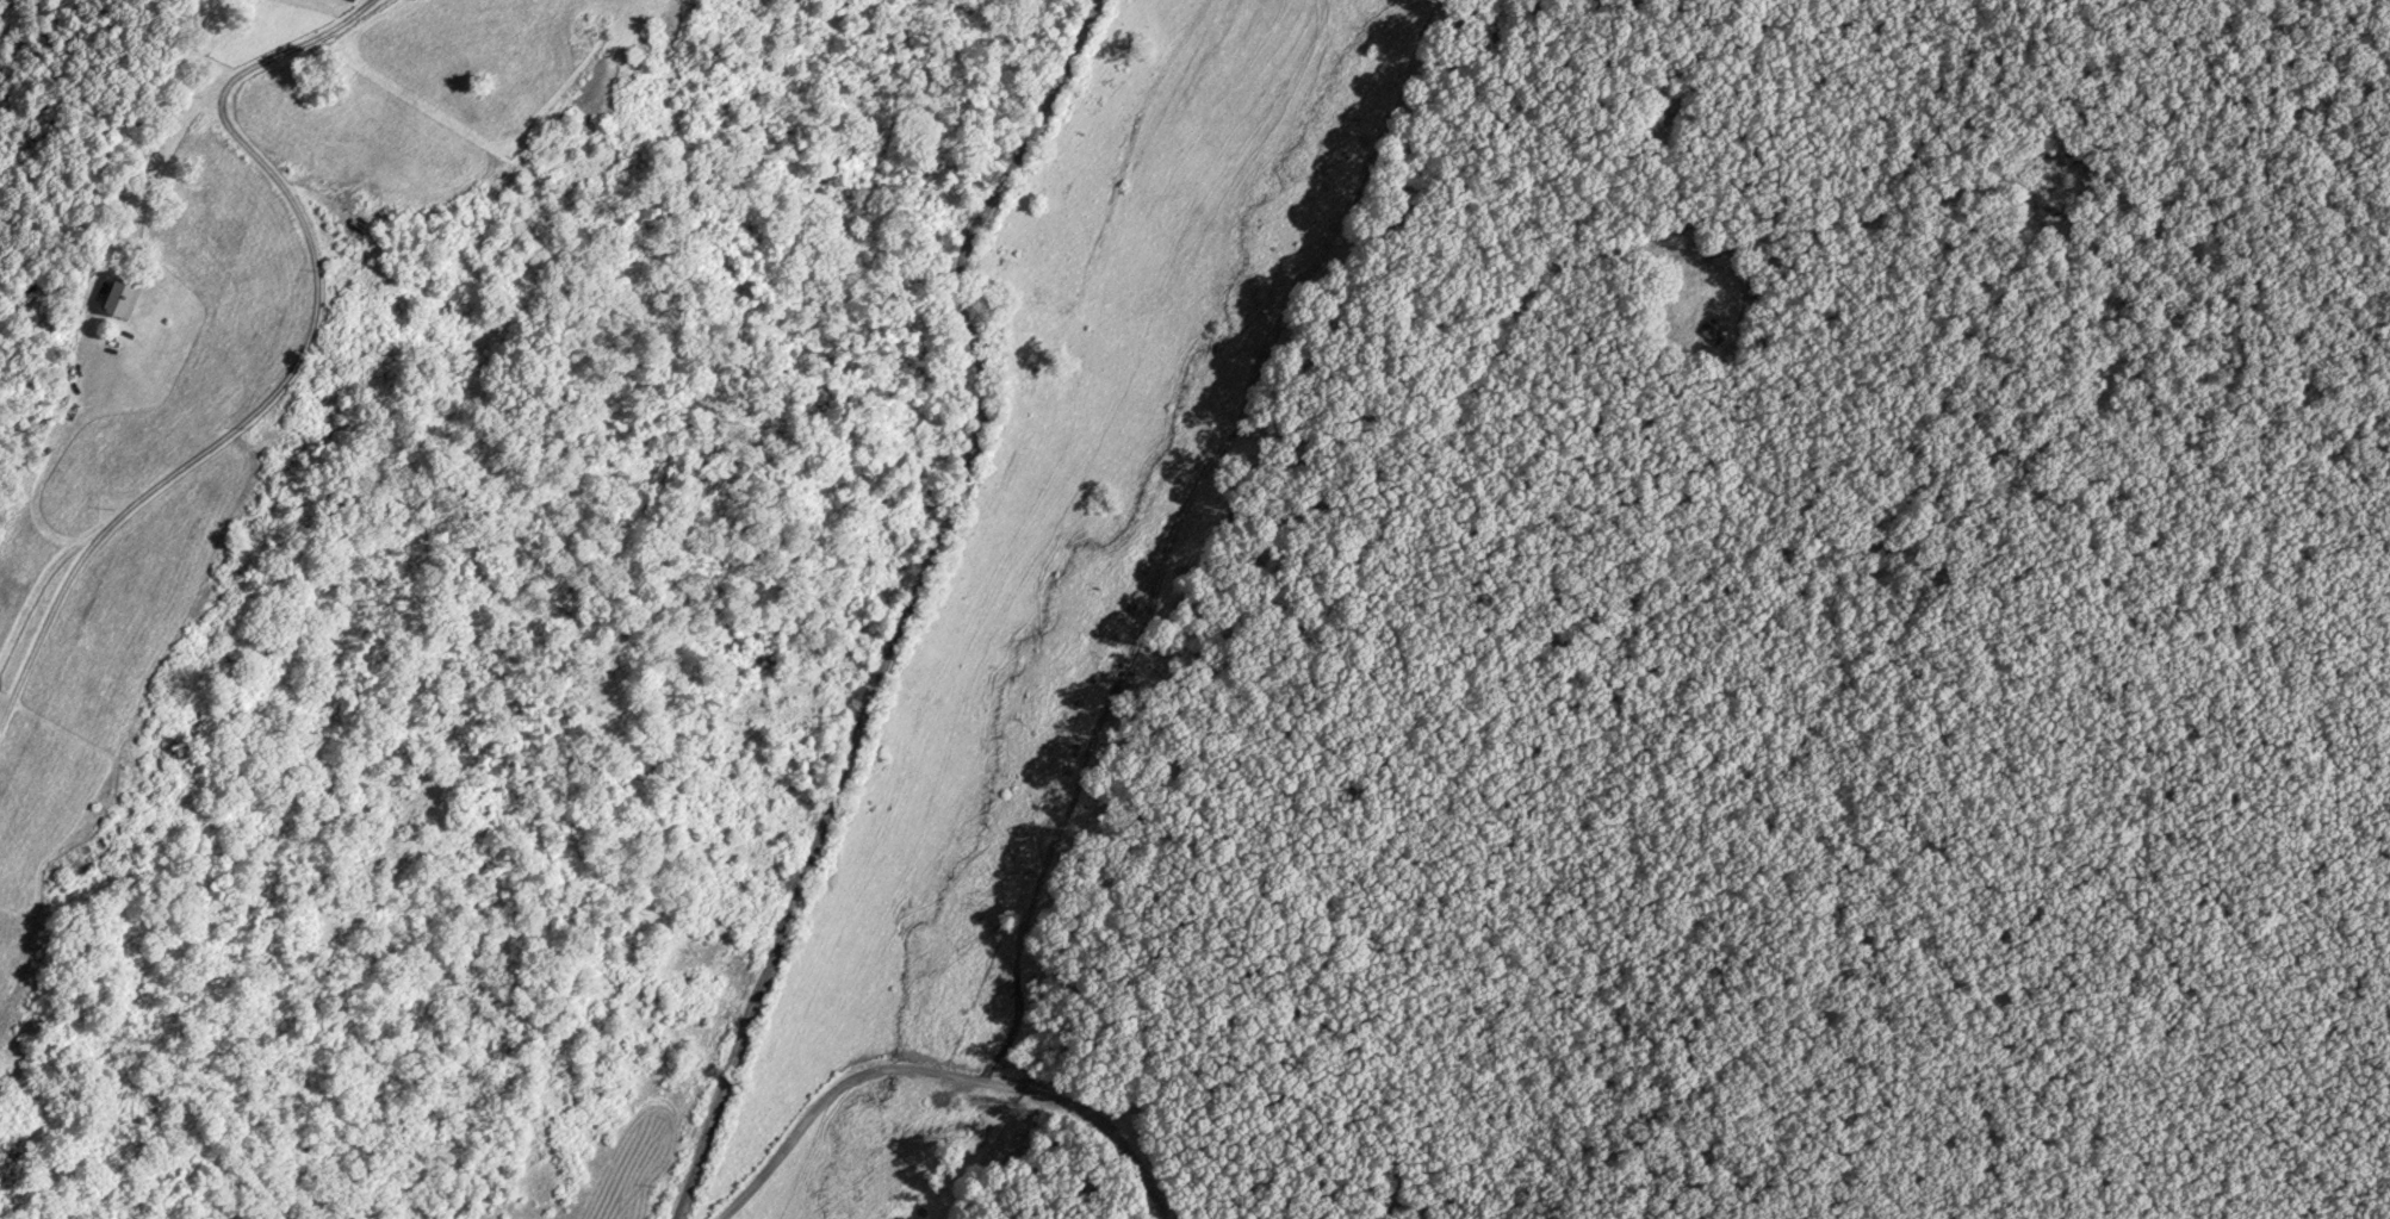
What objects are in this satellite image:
building: (119, 298)
road: (339, 310)
road: (911, 603)
road: (943, 1074)

